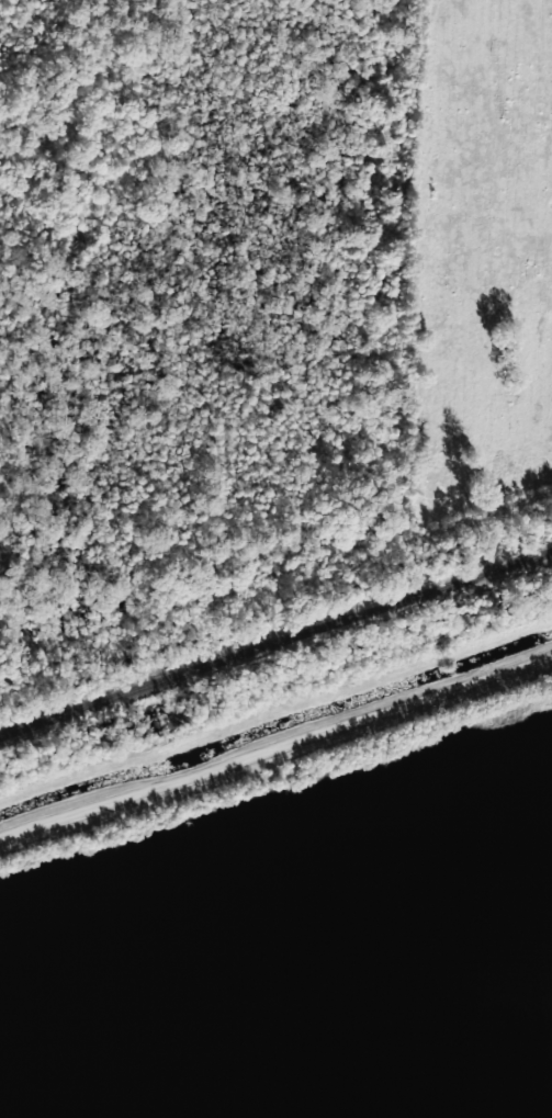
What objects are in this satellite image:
railway: (275, 640)

